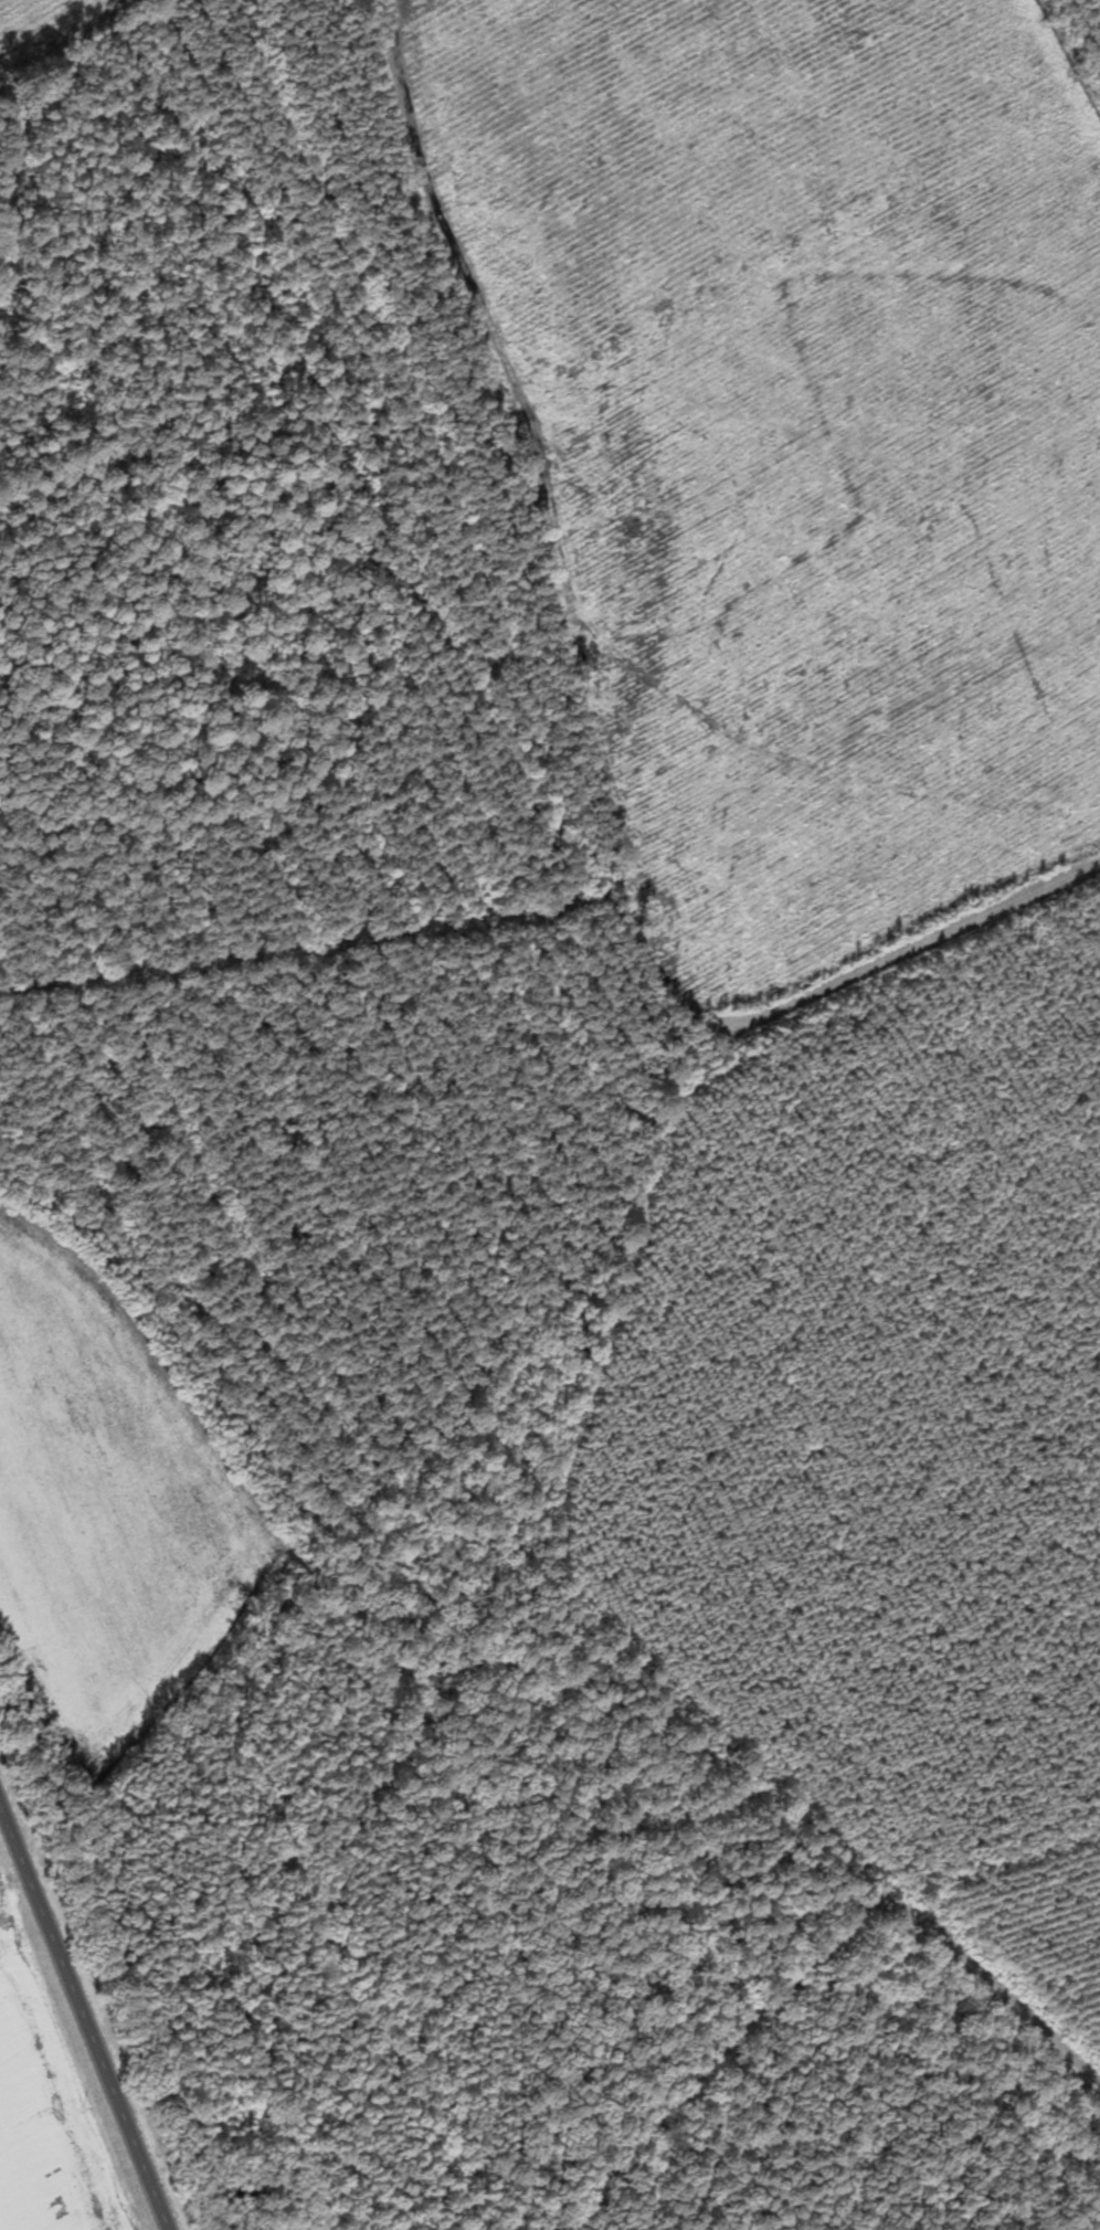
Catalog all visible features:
road: (914, 991)
road: (838, 1991)
road: (95, 1998)

